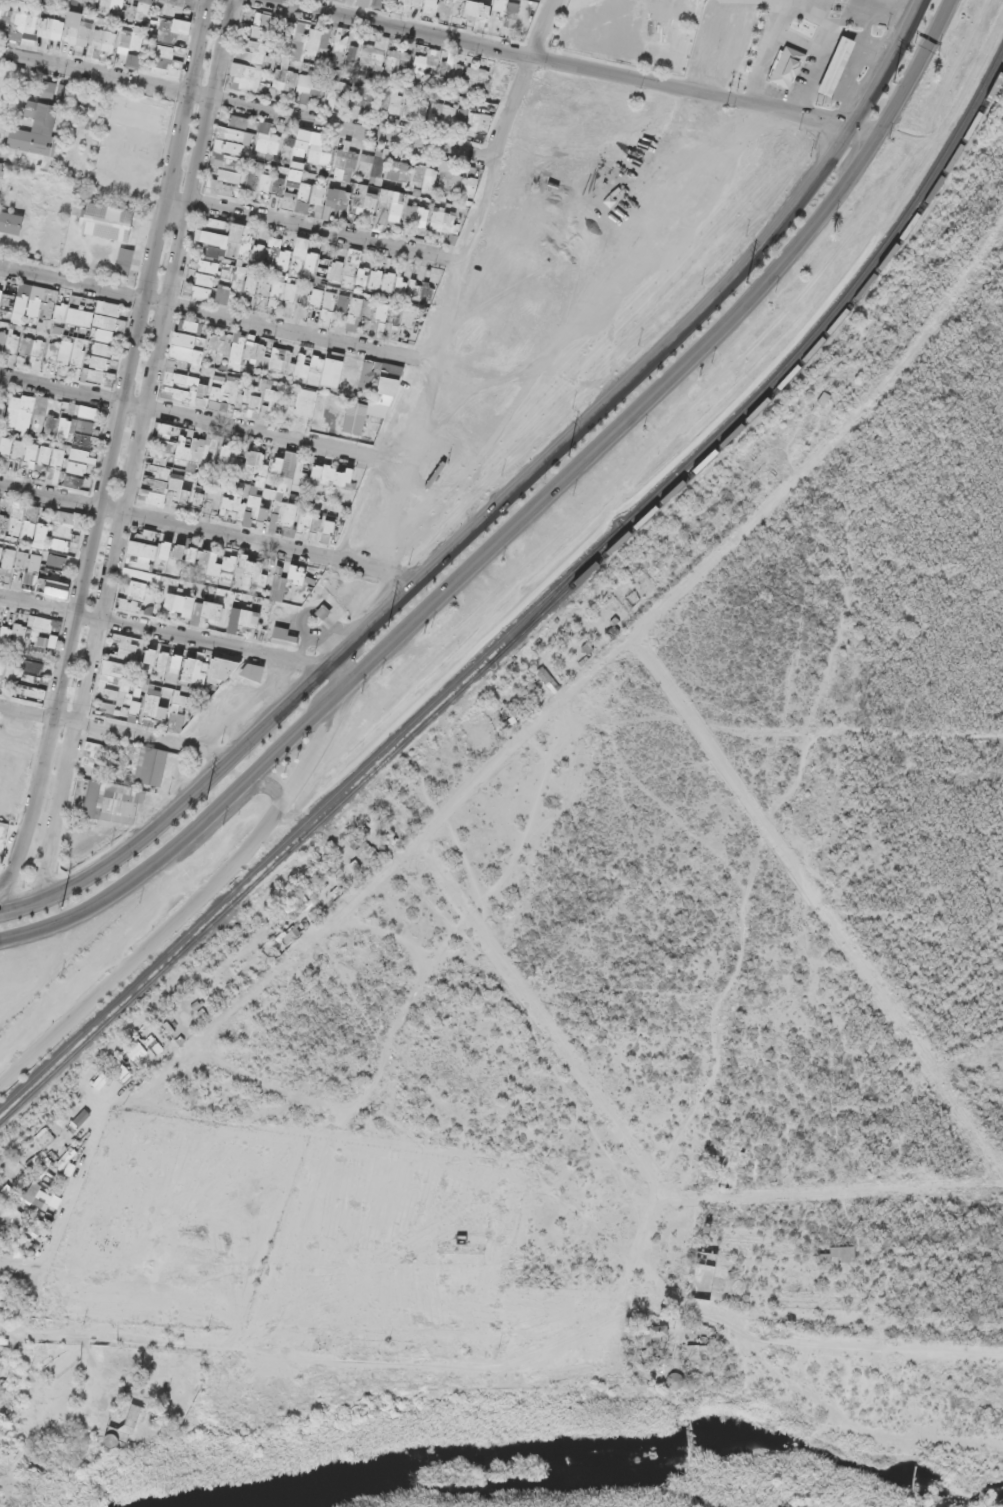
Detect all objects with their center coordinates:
road: (501, 497)
road: (520, 518)
river: (591, 1451)

